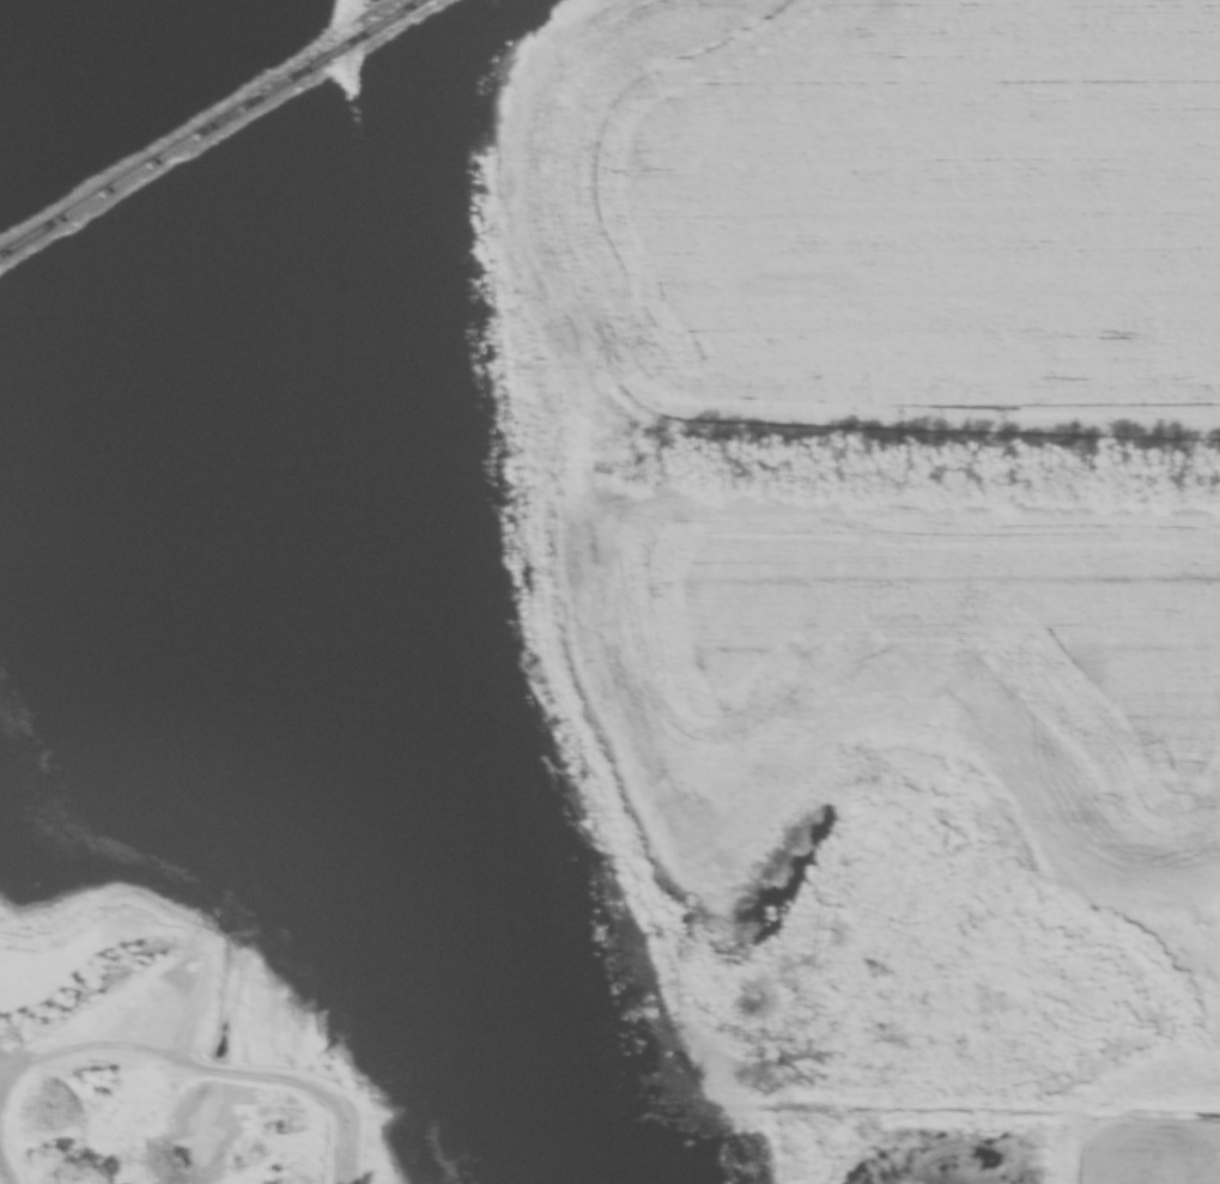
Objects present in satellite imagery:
railway: (216, 130)
road: (347, 1149)

